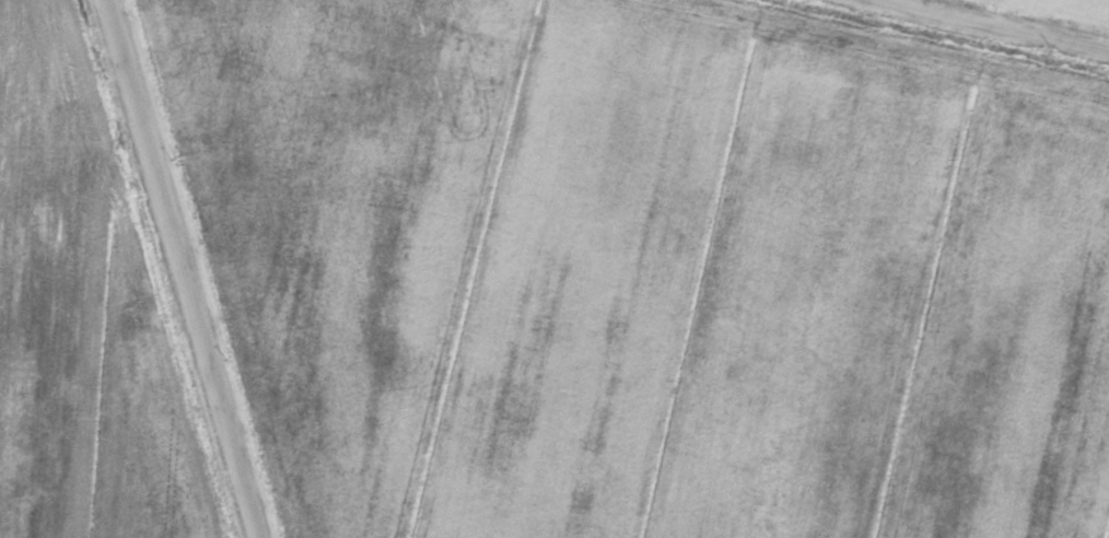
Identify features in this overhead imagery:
road: (985, 26)
road: (178, 269)

